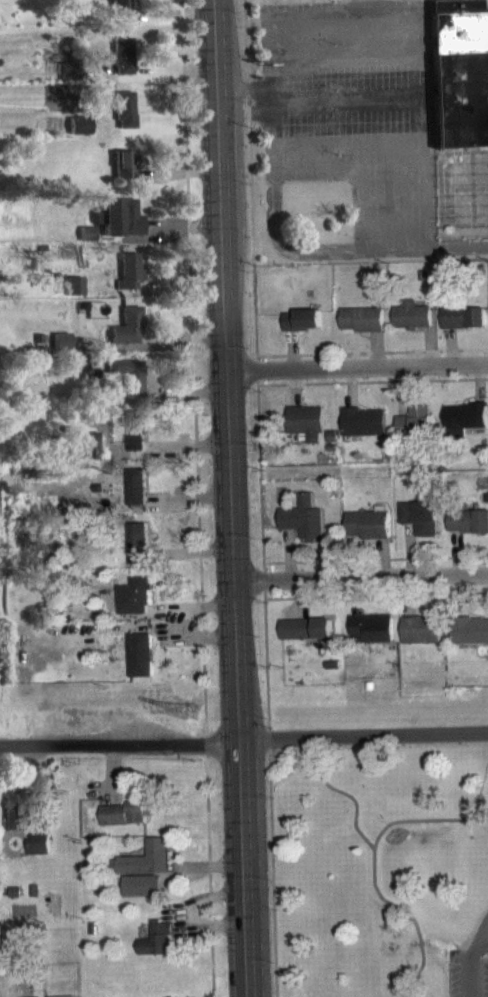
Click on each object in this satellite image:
building: (119, 13)
building: (122, 65)
building: (70, 80)
building: (459, 86)
road: (324, 108)
building: (124, 119)
building: (123, 174)
building: (118, 227)
building: (87, 243)
building: (129, 281)
building: (74, 296)
building: (412, 326)
building: (464, 327)
building: (362, 329)
building: (303, 330)
building: (126, 336)
building: (60, 351)
road: (359, 366)
building: (78, 371)
building: (128, 386)
building: (465, 428)
building: (365, 432)
building: (415, 433)
building: (134, 443)
building: (87, 455)
building: (135, 497)
road: (232, 498)
building: (420, 527)
building: (303, 528)
building: (468, 532)
building: (368, 535)
building: (137, 552)
road: (361, 572)
building: (134, 607)
building: (372, 637)
building: (305, 639)
building: (421, 640)
building: (470, 640)
building: (139, 665)
power tower: (189, 715)
road: (364, 737)
road: (121, 745)
building: (15, 821)
building: (125, 823)
building: (38, 854)
building: (146, 869)
building: (140, 896)
building: (157, 950)
road: (474, 971)

